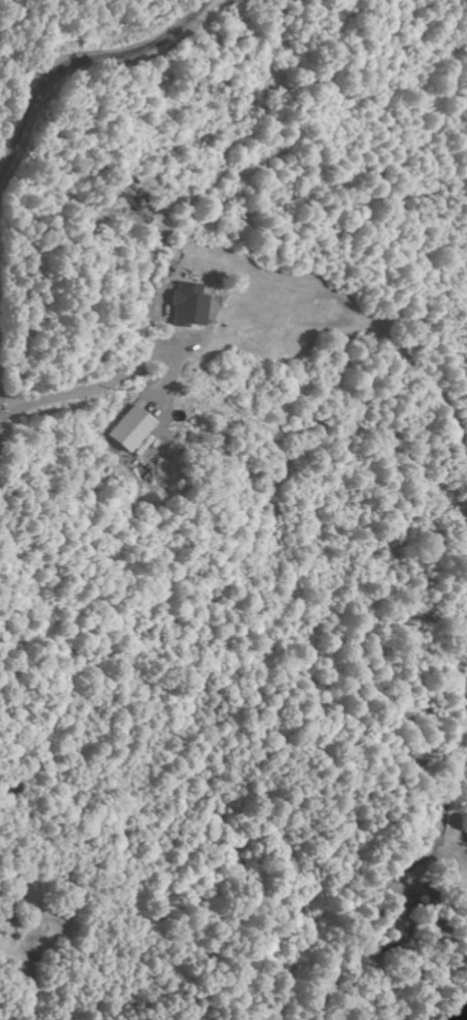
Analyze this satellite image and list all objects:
road: (75, 63)
building: (187, 304)
building: (129, 429)

